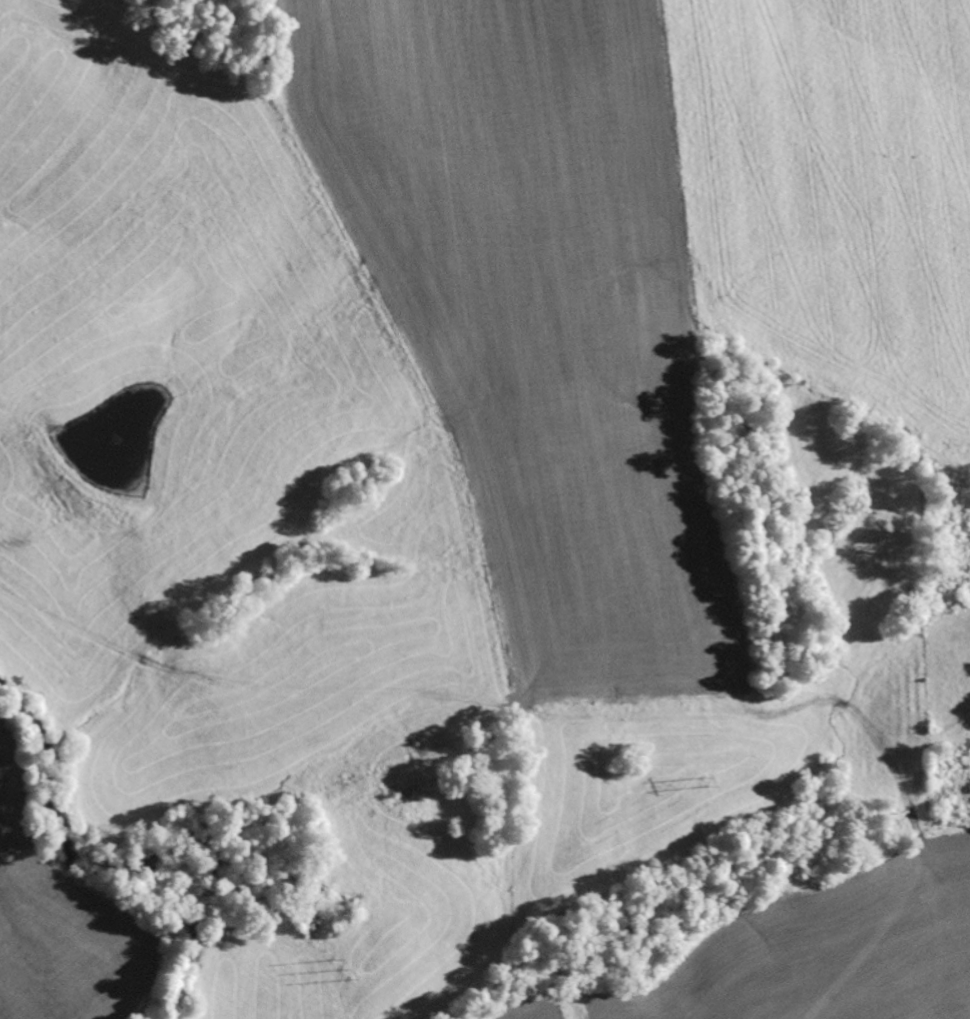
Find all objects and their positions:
building: (400, 785)

